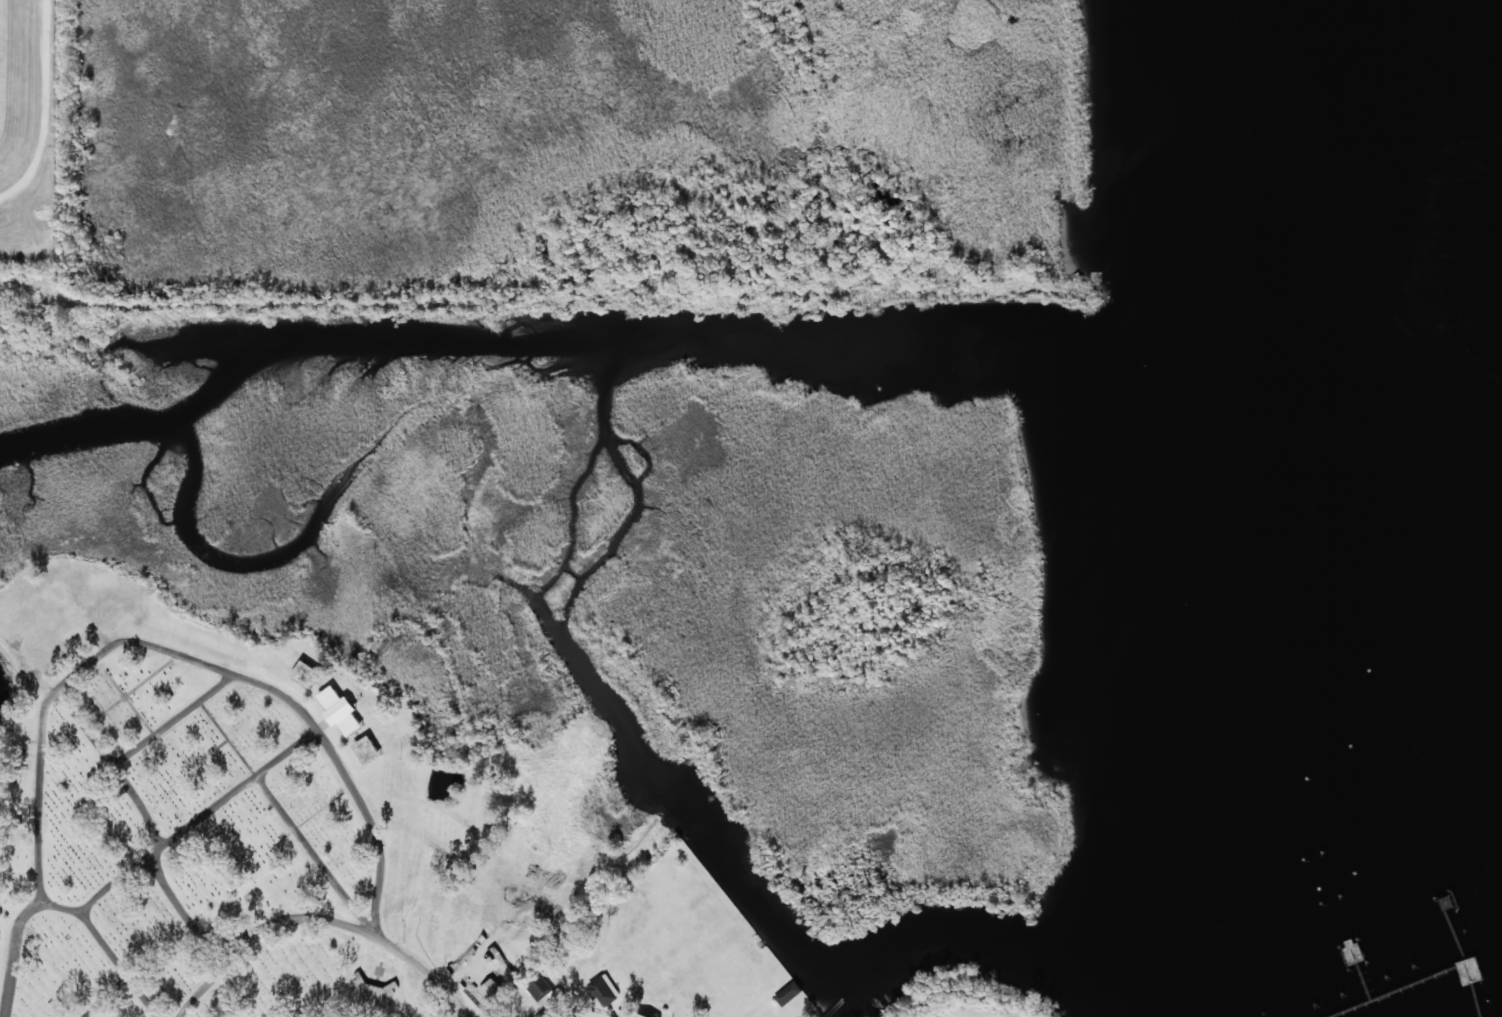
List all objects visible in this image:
road: (50, 110)
road: (538, 301)
river: (1448, 371)
road: (135, 643)
building: (305, 674)
building: (339, 711)
road: (175, 723)
road: (120, 775)
road: (300, 830)
park: (213, 840)
road: (155, 869)
road: (267, 932)
road: (123, 966)
road: (427, 973)
road: (144, 974)
building: (490, 990)
building: (602, 990)
building: (541, 993)
building: (787, 994)
building: (640, 1015)

